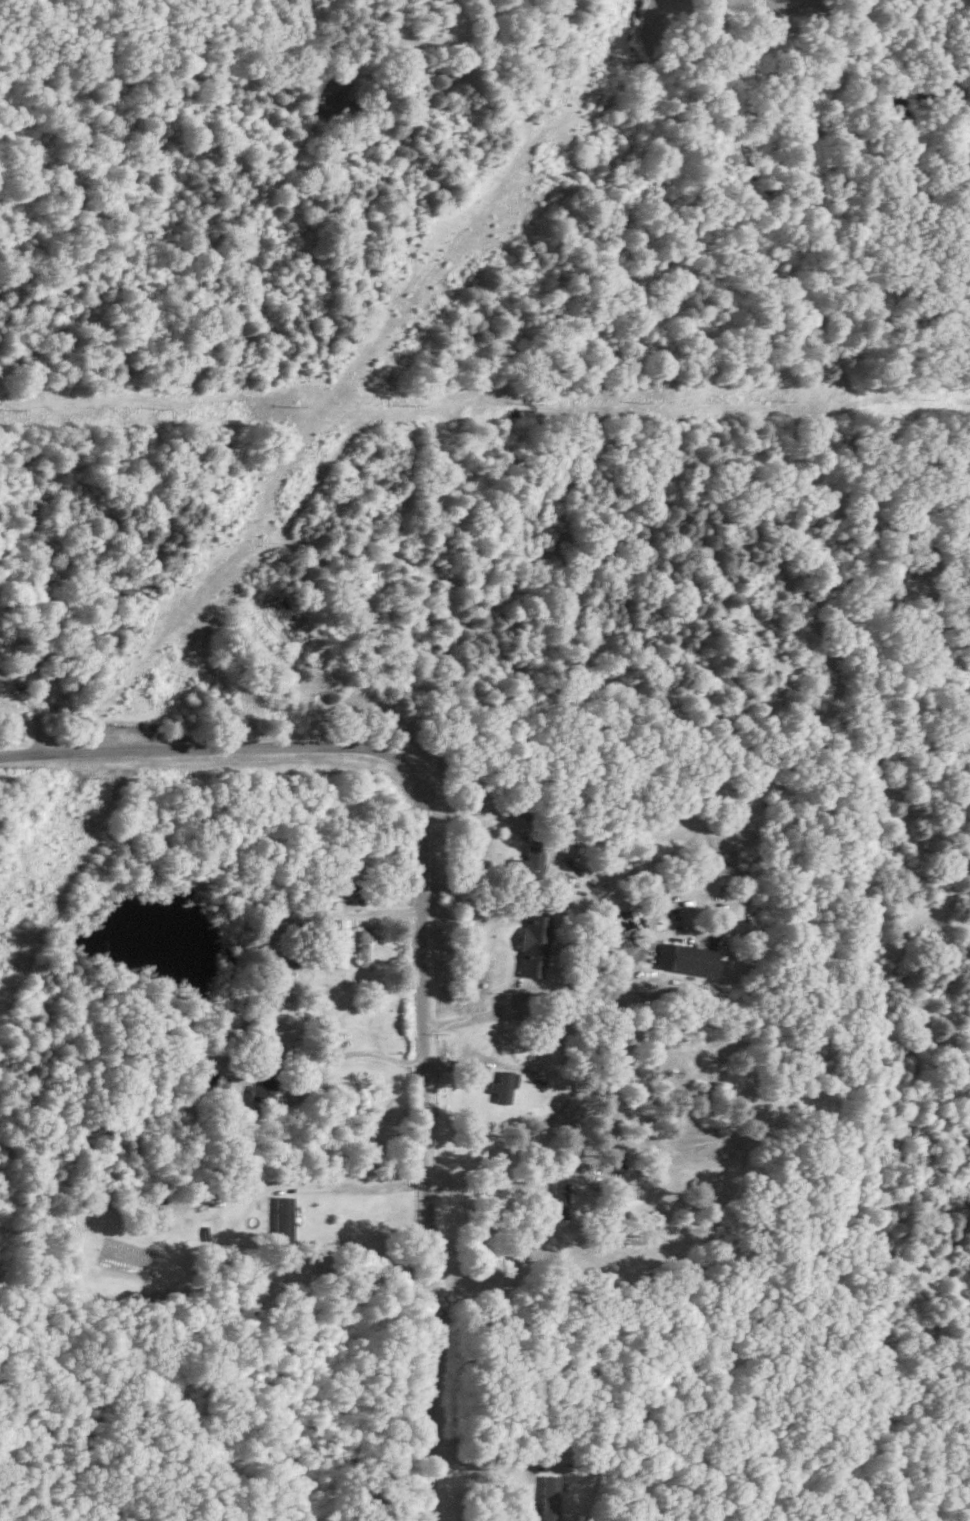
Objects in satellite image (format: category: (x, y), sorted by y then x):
road: (481, 800)
building: (527, 862)
road: (420, 933)
building: (340, 942)
building: (363, 943)
building: (533, 945)
building: (685, 958)
building: (284, 973)
road: (479, 1015)
road: (354, 1056)
building: (262, 1084)
building: (502, 1085)
road: (358, 1185)
road: (482, 1187)
building: (283, 1219)
building: (549, 1496)

